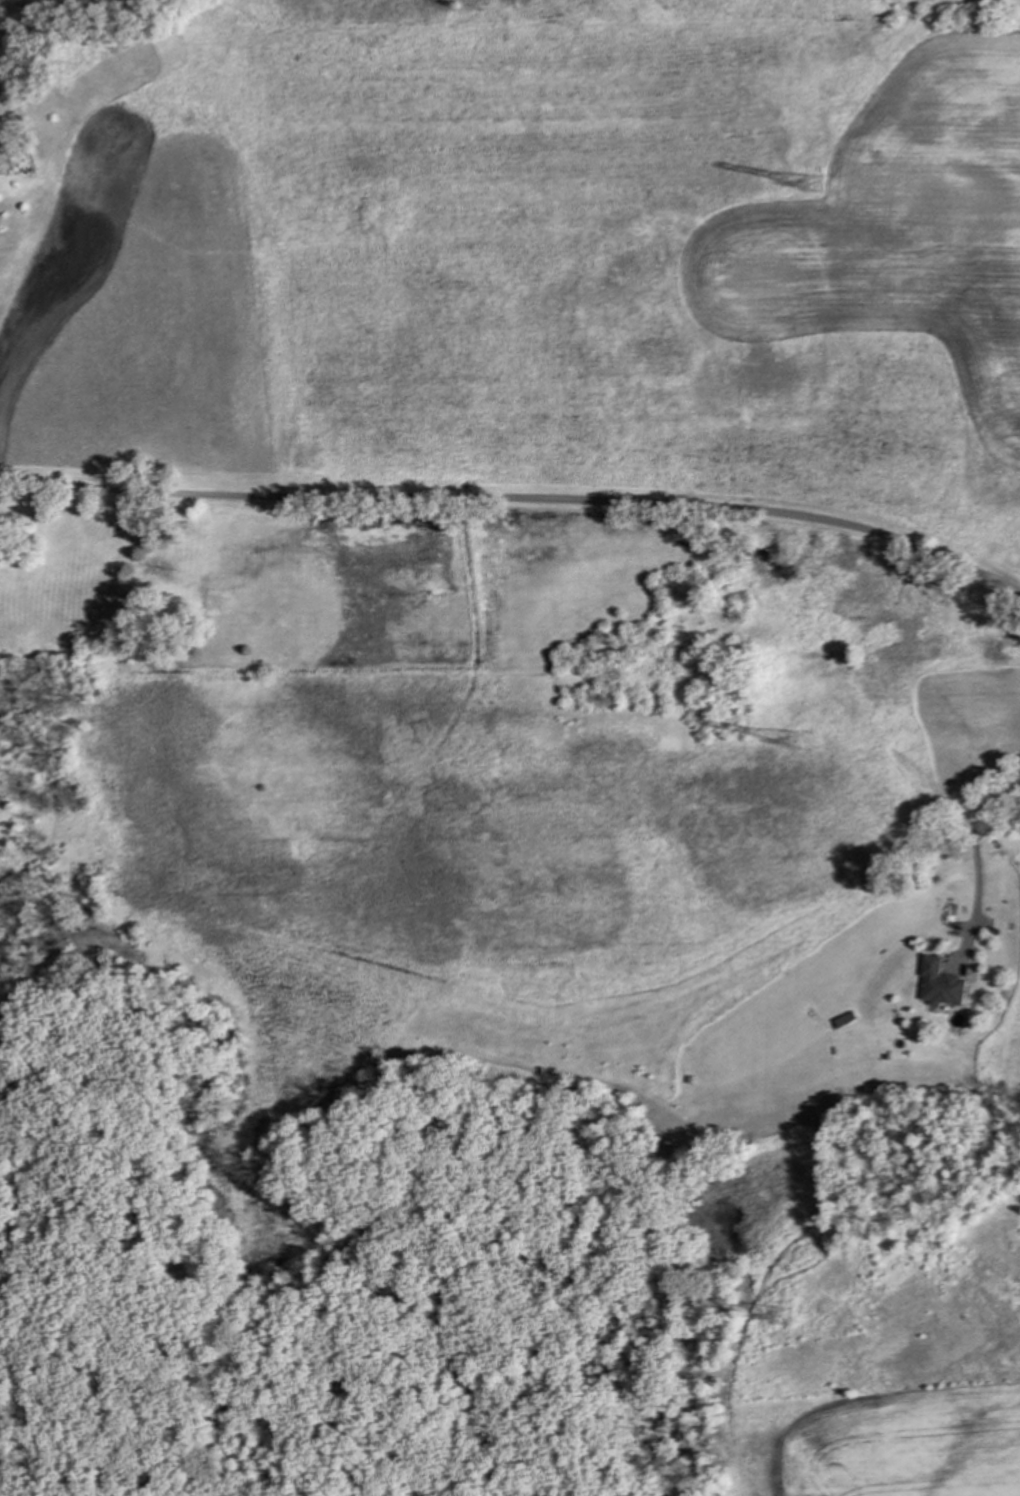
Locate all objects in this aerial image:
power tower: (811, 189)
road: (518, 502)
power tower: (797, 742)
road: (977, 860)
building: (933, 970)
power tower: (786, 1318)

